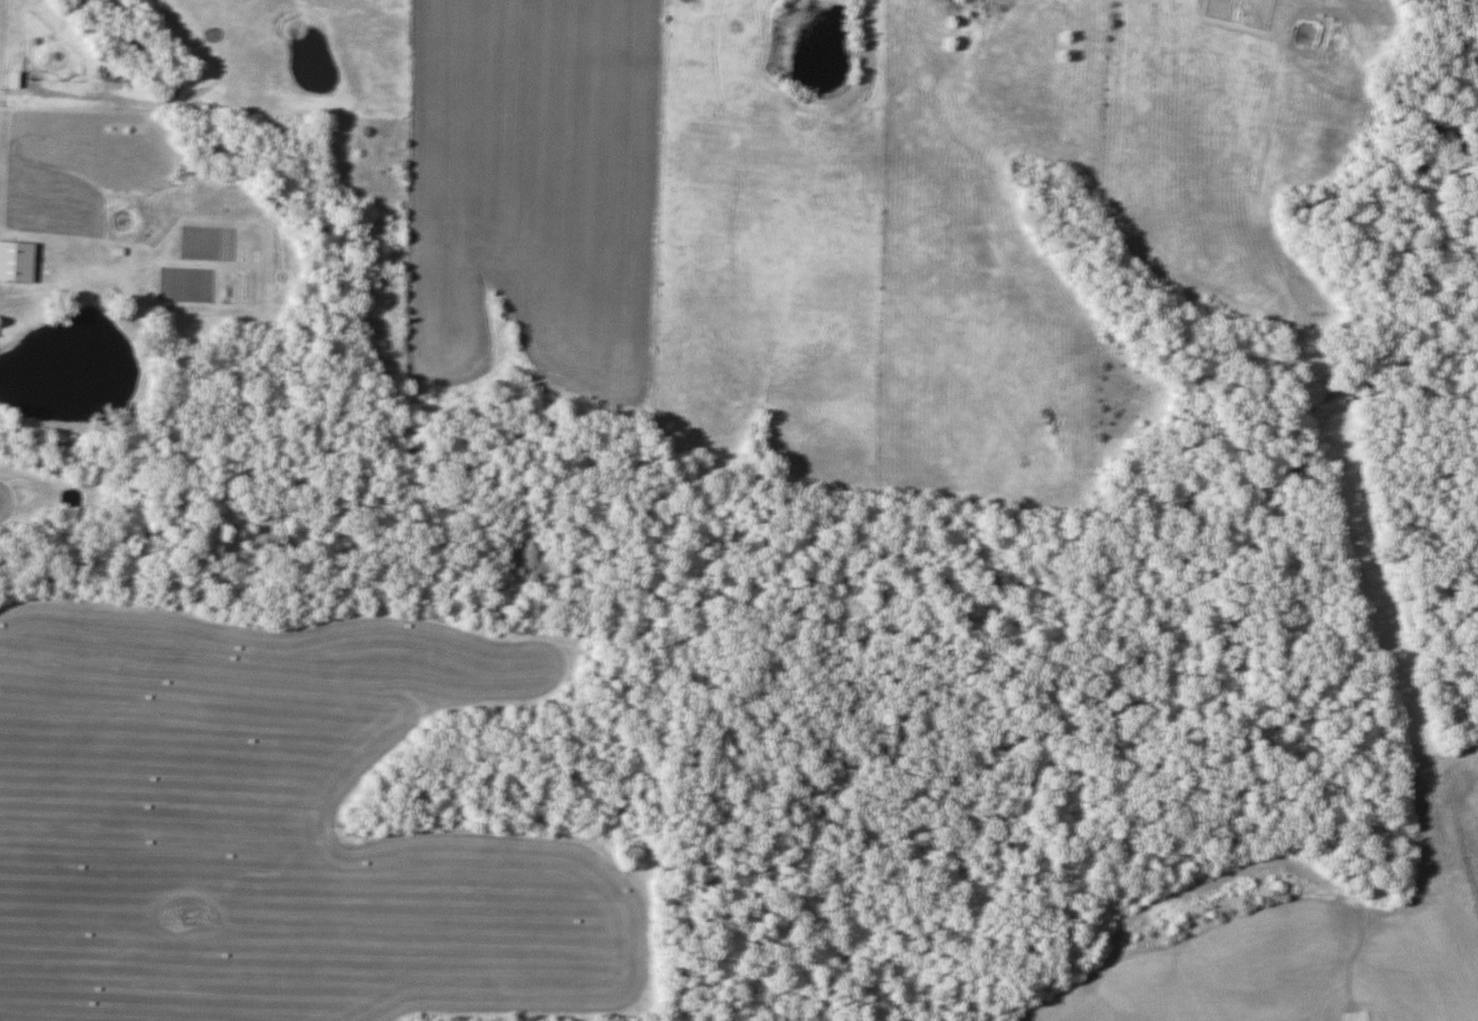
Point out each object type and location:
building: (15, 79)
building: (17, 262)

